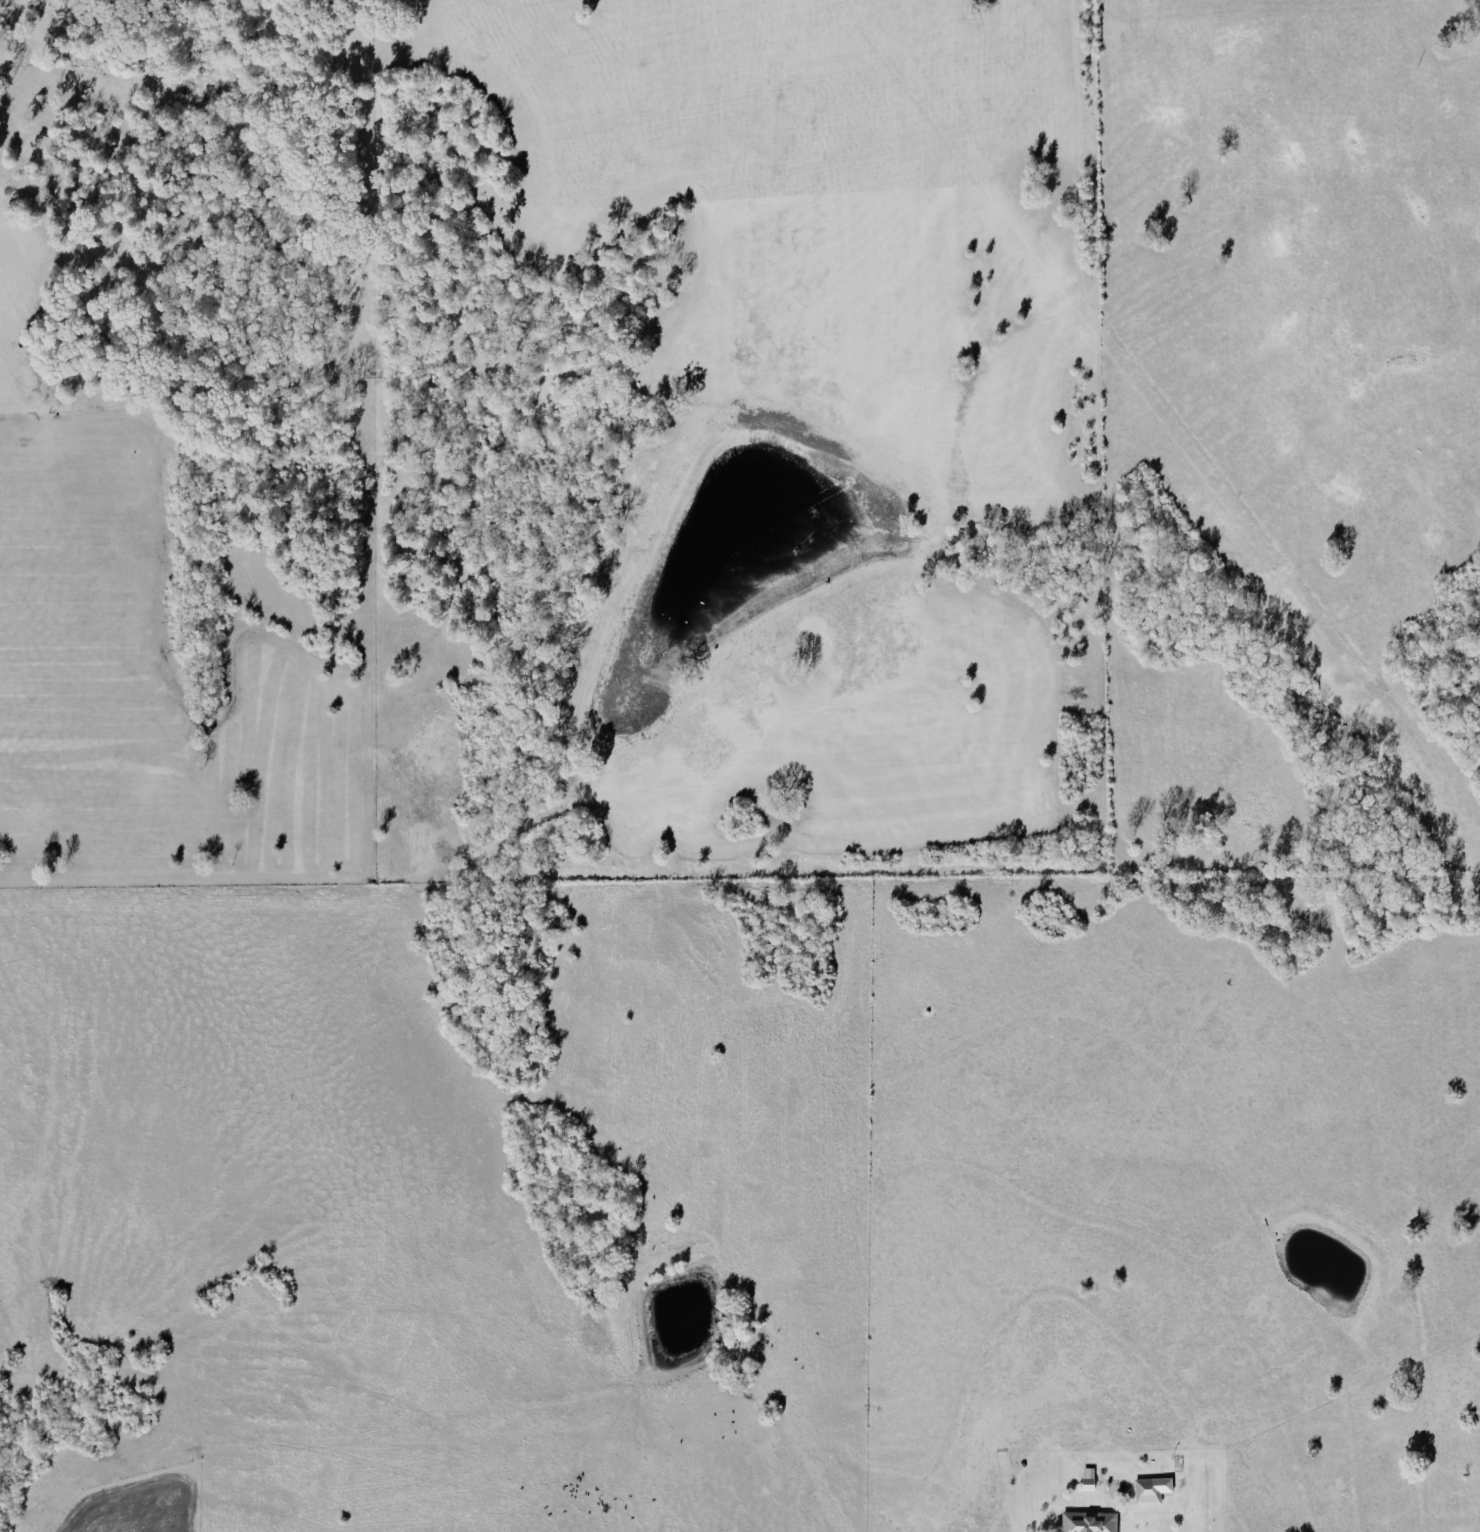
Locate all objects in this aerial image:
building: (1153, 1489)
building: (1090, 1521)

